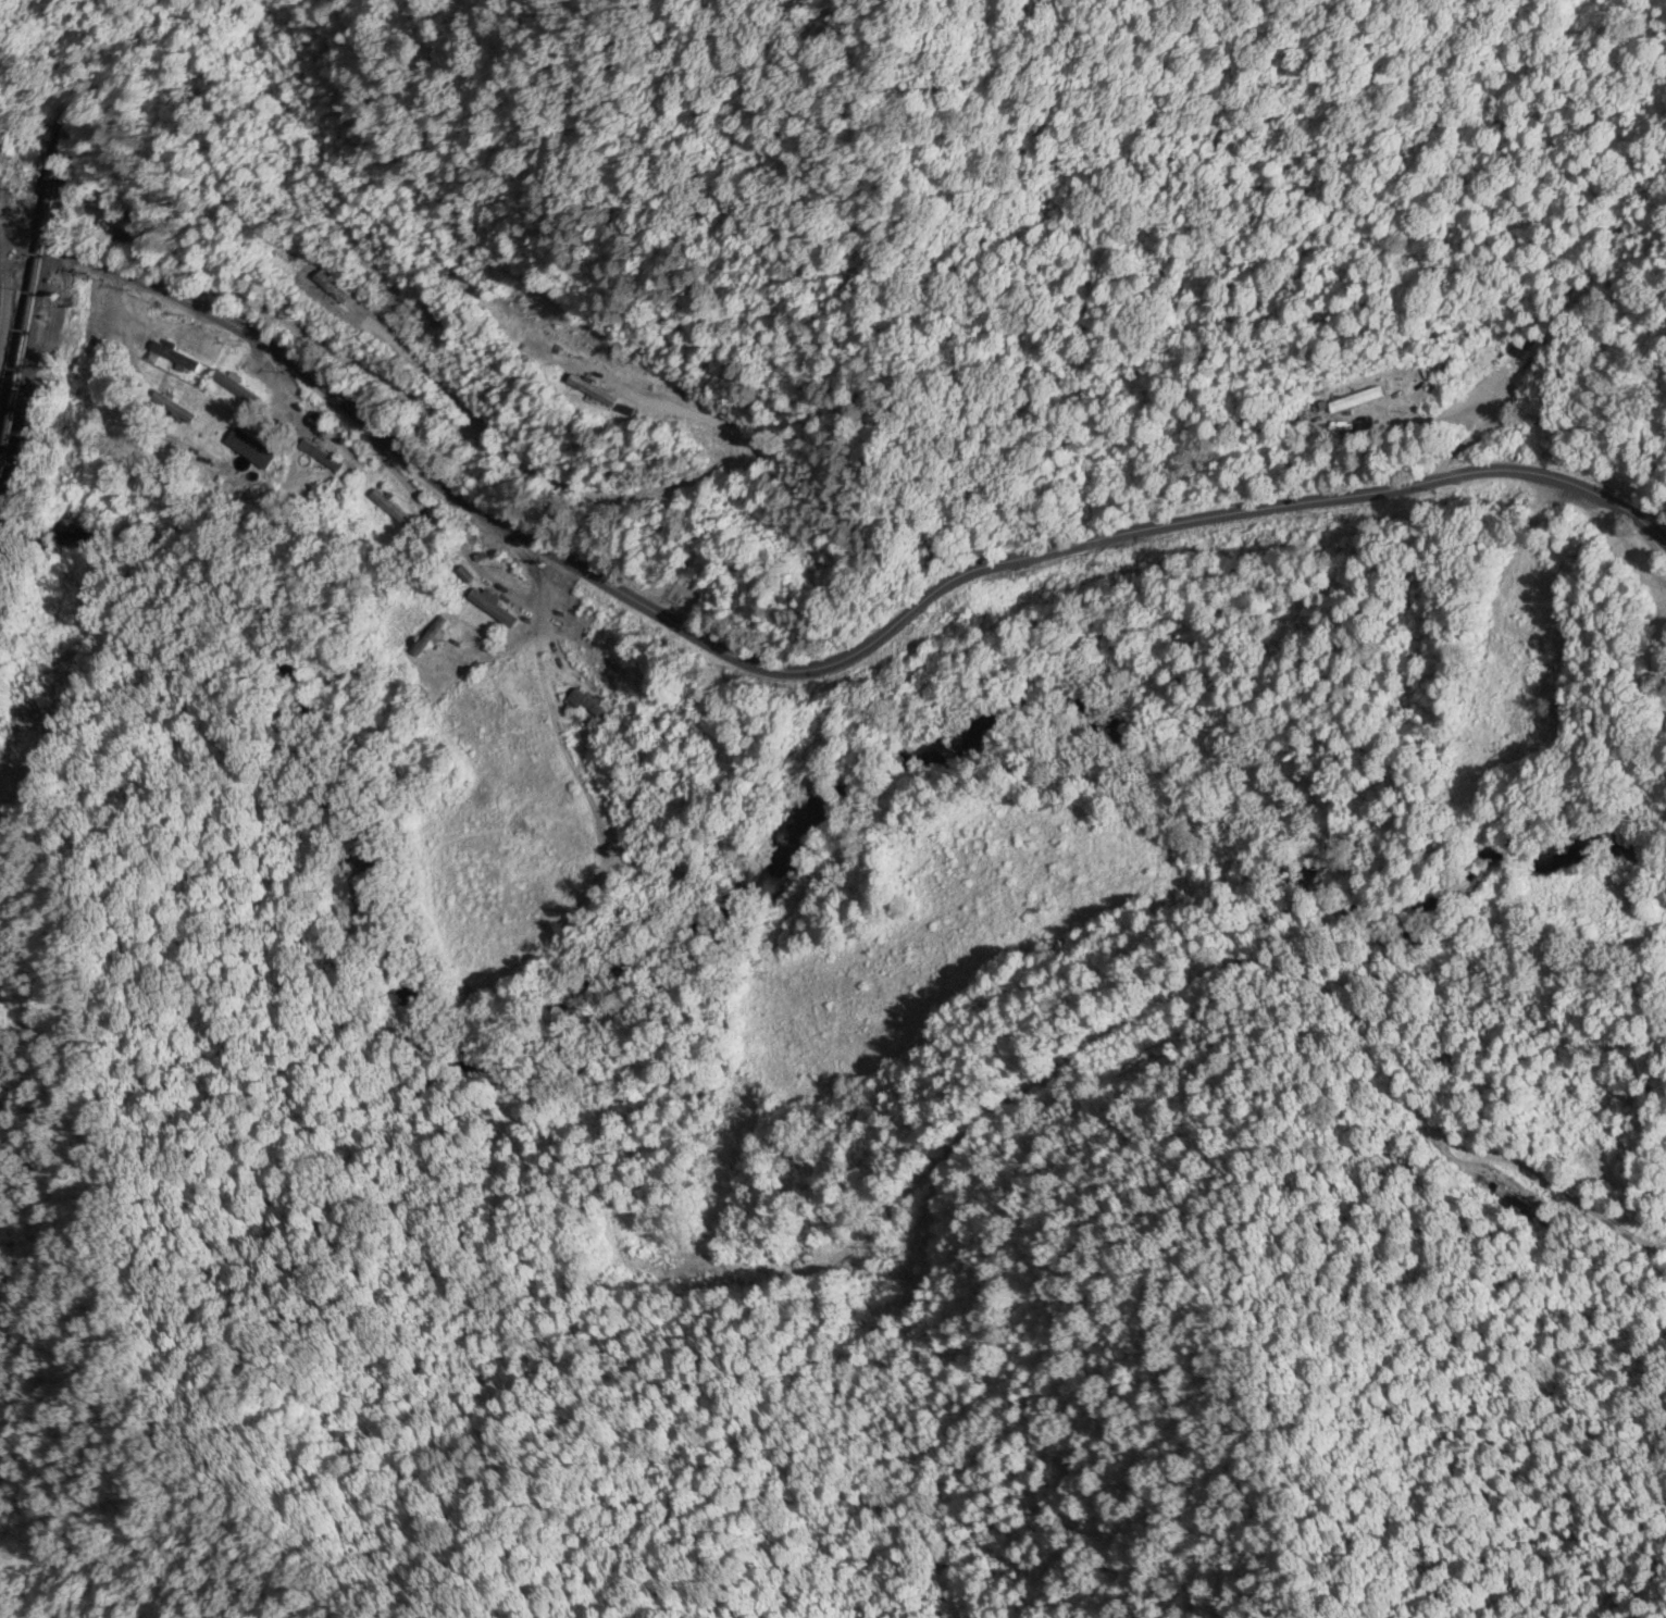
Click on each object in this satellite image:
building: (122, 226)
building: (330, 289)
railway: (32, 295)
building: (175, 357)
building: (234, 388)
building: (594, 391)
road: (1616, 440)
building: (253, 465)
building: (393, 507)
building: (492, 608)
road: (807, 667)
building: (595, 669)
building: (588, 707)
building: (651, 1258)

